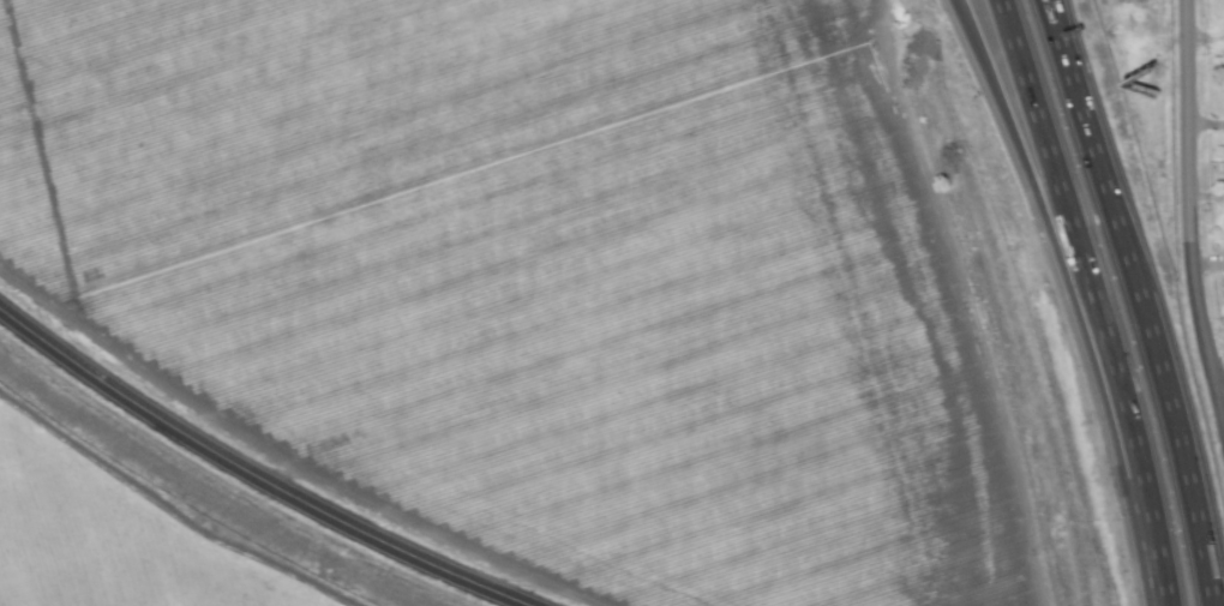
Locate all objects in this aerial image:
road: (1201, 41)
road: (1180, 103)
road: (1032, 184)
road: (1150, 299)
road: (1090, 300)
crop: (530, 307)
road: (1193, 329)
road: (1223, 443)
road: (254, 476)

